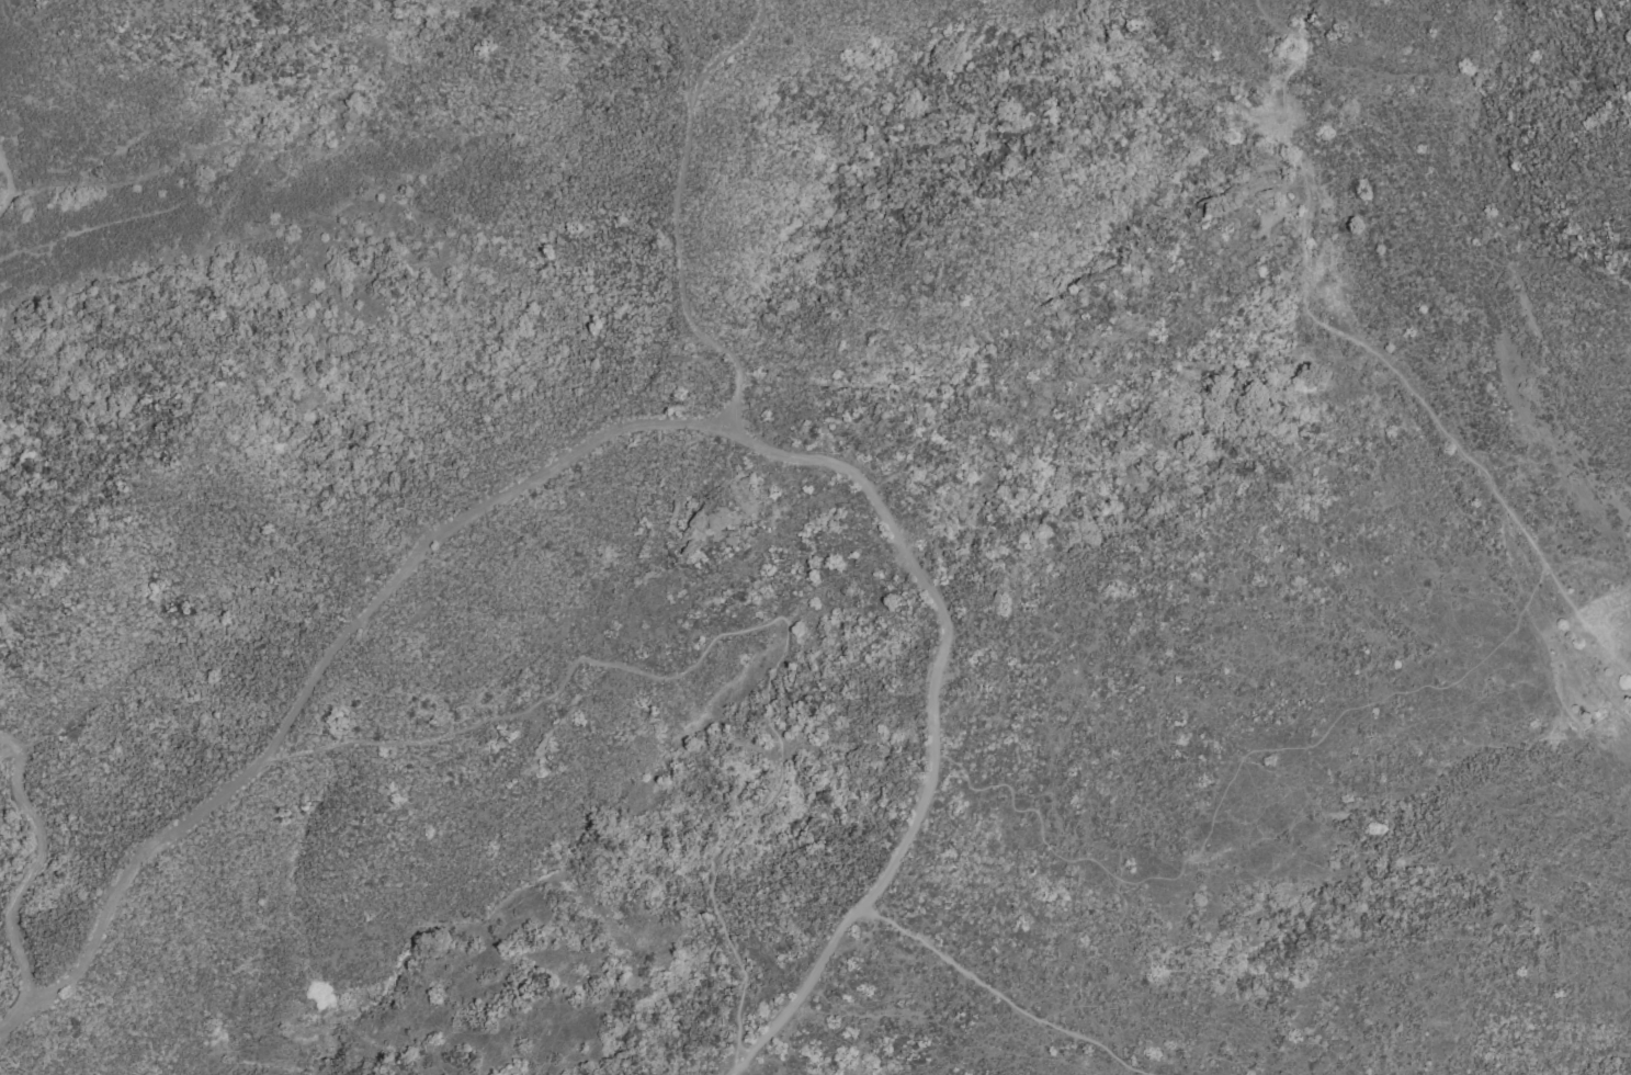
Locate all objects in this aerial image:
road: (728, 54)
road: (9, 185)
road: (676, 224)
road: (1368, 351)
road: (535, 476)
road: (739, 635)
road: (8, 749)
road: (999, 997)
road: (19, 1018)

